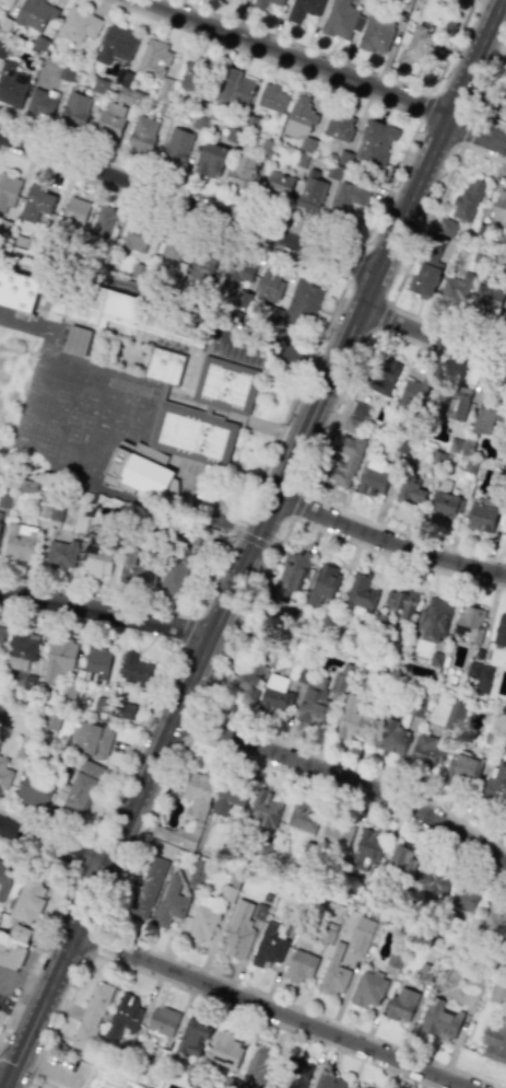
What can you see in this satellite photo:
building: (244, 0)
building: (457, 0)
building: (7, 2)
building: (258, 3)
building: (304, 9)
building: (36, 14)
building: (339, 19)
building: (78, 25)
building: (376, 33)
building: (116, 44)
building: (419, 46)
road: (451, 47)
road: (295, 56)
road: (262, 58)
building: (156, 66)
building: (199, 73)
building: (236, 83)
road: (490, 83)
building: (12, 84)
building: (502, 89)
building: (273, 96)
building: (42, 102)
road: (424, 105)
building: (77, 109)
building: (301, 116)
building: (111, 119)
building: (340, 125)
road: (490, 125)
road: (468, 131)
road: (474, 134)
building: (143, 135)
road: (438, 135)
building: (377, 142)
building: (178, 143)
road: (483, 154)
building: (344, 159)
building: (210, 160)
building: (244, 171)
building: (279, 183)
road: (390, 184)
road: (180, 187)
building: (9, 189)
building: (310, 193)
building: (349, 196)
building: (467, 199)
building: (37, 201)
road: (187, 204)
building: (499, 208)
building: (75, 210)
road: (173, 211)
building: (104, 220)
road: (425, 225)
building: (446, 225)
building: (136, 241)
building: (172, 247)
road: (353, 264)
building: (205, 266)
building: (427, 266)
building: (240, 274)
building: (271, 283)
building: (457, 288)
building: (17, 291)
building: (243, 298)
building: (486, 298)
building: (298, 300)
building: (121, 310)
road: (386, 312)
building: (505, 319)
road: (380, 323)
road: (446, 328)
road: (432, 337)
parking lot: (251, 338)
building: (75, 339)
road: (273, 346)
road: (440, 354)
building: (163, 366)
building: (380, 377)
park: (8, 379)
park: (13, 379)
building: (225, 384)
park: (46, 392)
building: (163, 392)
building: (415, 393)
road: (290, 403)
building: (454, 405)
building: (358, 409)
building: (489, 410)
road: (340, 412)
park: (38, 421)
building: (351, 425)
building: (191, 436)
building: (400, 444)
building: (454, 445)
building: (467, 445)
building: (351, 459)
building: (436, 459)
building: (141, 473)
building: (373, 477)
building: (25, 486)
building: (410, 490)
building: (445, 498)
road: (299, 499)
building: (5, 500)
building: (43, 511)
road: (294, 511)
building: (55, 513)
building: (481, 517)
building: (0, 524)
road: (402, 533)
road: (254, 540)
traffic signals: (254, 540)
road: (388, 541)
building: (21, 542)
building: (61, 553)
building: (96, 555)
road: (397, 558)
building: (133, 565)
road: (239, 569)
road: (212, 572)
building: (294, 572)
building: (176, 575)
building: (322, 582)
street lamp: (72, 588)
building: (358, 593)
road: (96, 595)
building: (402, 600)
road: (105, 613)
street lamp: (190, 615)
building: (434, 618)
road: (91, 622)
building: (469, 623)
road: (186, 630)
building: (499, 630)
building: (2, 632)
street lamp: (175, 645)
building: (21, 648)
building: (59, 656)
building: (436, 658)
building: (97, 663)
building: (134, 668)
building: (473, 670)
building: (299, 674)
building: (483, 679)
building: (340, 680)
building: (30, 682)
building: (250, 682)
building: (275, 694)
building: (311, 705)
building: (417, 705)
building: (113, 708)
building: (454, 714)
building: (351, 717)
road: (189, 721)
building: (51, 722)
road: (256, 731)
building: (387, 737)
building: (93, 739)
building: (486, 741)
road: (133, 745)
building: (425, 751)
building: (459, 767)
building: (4, 773)
road: (344, 777)
building: (82, 786)
building: (496, 787)
building: (36, 788)
road: (351, 795)
building: (226, 798)
building: (261, 809)
building: (187, 815)
building: (302, 819)
road: (43, 830)
road: (143, 830)
building: (334, 835)
road: (50, 845)
building: (266, 848)
building: (367, 848)
road: (81, 856)
building: (400, 864)
building: (198, 872)
building: (4, 878)
building: (435, 880)
building: (146, 889)
building: (227, 893)
building: (466, 896)
building: (27, 902)
building: (169, 903)
building: (496, 918)
building: (201, 919)
building: (238, 929)
building: (328, 931)
building: (20, 933)
building: (361, 935)
road: (94, 939)
building: (269, 946)
road: (38, 951)
building: (396, 952)
building: (10, 954)
road: (180, 961)
building: (299, 965)
building: (426, 968)
building: (332, 976)
road: (52, 977)
road: (11, 982)
building: (367, 989)
road: (193, 993)
parking lot: (4, 1004)
building: (401, 1004)
road: (271, 1009)
road: (16, 1011)
building: (91, 1015)
building: (123, 1016)
building: (162, 1020)
building: (439, 1020)
building: (193, 1037)
building: (495, 1039)
road: (385, 1042)
building: (228, 1048)
building: (255, 1066)
building: (292, 1072)
road: (2, 1080)
building: (108, 1080)
building: (328, 1080)
building: (142, 1087)
building: (354, 1087)
building: (365, 1087)

